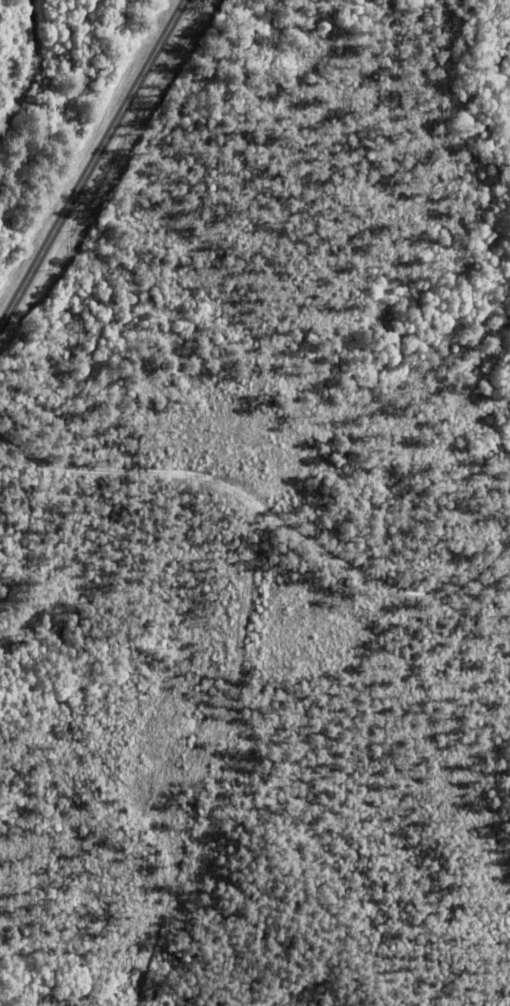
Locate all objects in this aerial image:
road: (92, 164)
road: (268, 511)

